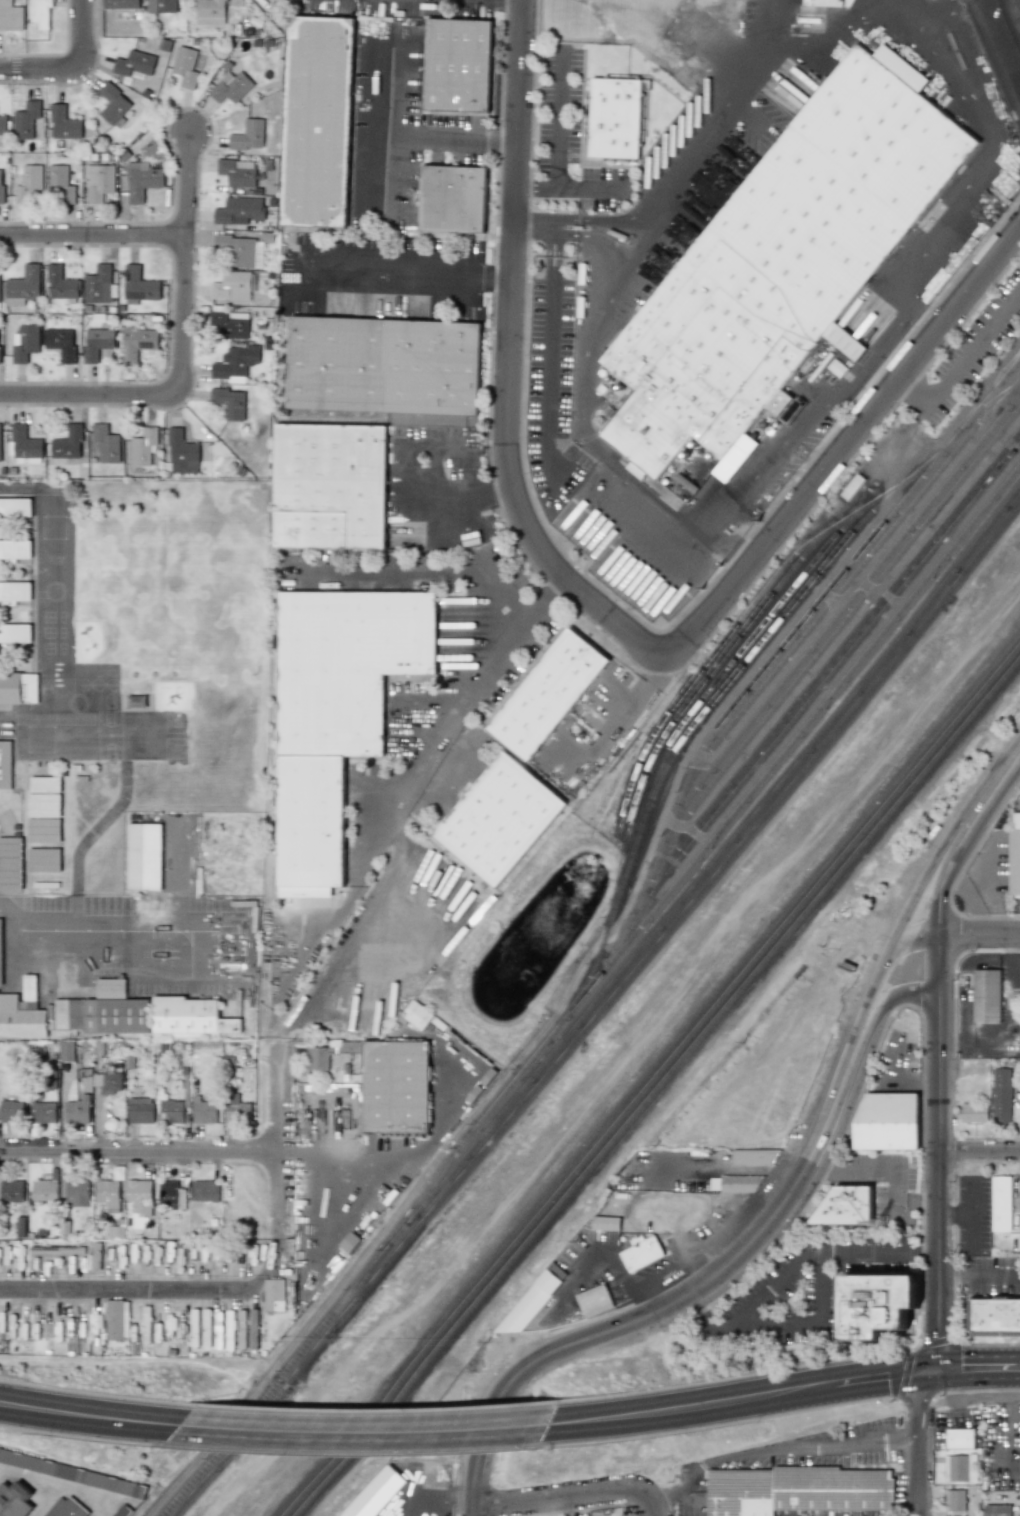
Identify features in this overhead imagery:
building: (829, 2)
road: (892, 2)
building: (121, 4)
road: (1017, 4)
building: (160, 6)
building: (210, 11)
building: (41, 13)
building: (10, 16)
road: (775, 23)
road: (427, 25)
road: (83, 34)
building: (164, 47)
road: (996, 52)
road: (58, 55)
building: (134, 63)
building: (461, 66)
building: (185, 67)
road: (14, 68)
road: (41, 68)
road: (82, 79)
road: (650, 79)
building: (231, 87)
road: (681, 102)
building: (113, 104)
building: (616, 116)
building: (26, 120)
building: (321, 123)
building: (64, 124)
building: (3, 125)
parking lot: (403, 129)
road: (390, 131)
building: (248, 135)
parking lot: (571, 138)
road: (453, 139)
road: (644, 153)
road: (636, 168)
building: (237, 172)
building: (142, 181)
building: (61, 183)
building: (98, 183)
building: (29, 184)
building: (1, 187)
road: (195, 192)
building: (457, 200)
building: (239, 210)
road: (496, 212)
road: (533, 225)
road: (615, 229)
road: (350, 231)
road: (420, 231)
road: (93, 236)
building: (967, 237)
road: (558, 249)
road: (549, 250)
building: (239, 251)
building: (784, 261)
road: (923, 261)
parking lot: (388, 273)
building: (942, 273)
road: (409, 275)
building: (60, 282)
building: (100, 285)
building: (927, 285)
building: (23, 286)
building: (138, 286)
building: (231, 286)
building: (0, 308)
road: (295, 317)
building: (230, 324)
road: (488, 324)
building: (25, 343)
building: (137, 343)
building: (61, 344)
building: (97, 344)
road: (181, 354)
road: (508, 356)
road: (967, 356)
building: (236, 362)
railway: (1012, 364)
building: (387, 367)
road: (549, 386)
parking lot: (552, 390)
railway: (987, 401)
building: (230, 403)
building: (106, 443)
road: (430, 443)
building: (68, 444)
building: (0, 445)
building: (25, 446)
building: (143, 447)
building: (185, 448)
road: (845, 450)
road: (494, 483)
building: (333, 487)
road: (434, 488)
building: (15, 508)
building: (15, 549)
road: (417, 570)
railway: (841, 585)
building: (14, 592)
railway: (791, 602)
railway: (837, 611)
railway: (797, 625)
building: (15, 635)
railway: (828, 636)
railway: (725, 650)
railway: (705, 661)
railway: (833, 666)
railway: (804, 687)
building: (18, 688)
building: (550, 695)
railway: (689, 713)
building: (339, 714)
building: (5, 765)
road: (411, 773)
road: (1015, 773)
building: (45, 784)
road: (995, 790)
building: (44, 805)
building: (502, 821)
building: (43, 830)
railway: (708, 839)
building: (1014, 855)
building: (144, 856)
building: (43, 860)
building: (10, 864)
building: (151, 903)
road: (901, 924)
road: (979, 933)
road: (353, 937)
road: (915, 937)
building: (0, 952)
road: (42, 956)
building: (1011, 969)
building: (110, 988)
building: (987, 995)
road: (888, 997)
railway: (593, 1001)
railway: (599, 1009)
building: (22, 1012)
building: (68, 1014)
building: (417, 1015)
building: (117, 1016)
building: (190, 1016)
building: (98, 1048)
building: (66, 1051)
road: (621, 1065)
building: (51, 1081)
building: (108, 1081)
building: (386, 1082)
railway: (654, 1082)
railway: (659, 1089)
road: (940, 1092)
building: (1001, 1094)
building: (236, 1109)
building: (77, 1110)
building: (140, 1110)
building: (11, 1111)
building: (172, 1111)
building: (204, 1111)
building: (43, 1112)
building: (974, 1112)
building: (888, 1122)
road: (438, 1130)
road: (274, 1142)
road: (980, 1150)
road: (146, 1153)
road: (328, 1154)
building: (755, 1156)
road: (887, 1163)
building: (735, 1183)
building: (43, 1190)
building: (205, 1190)
building: (11, 1191)
building: (76, 1193)
building: (108, 1194)
building: (172, 1195)
building: (139, 1202)
building: (1001, 1203)
building: (846, 1205)
road: (955, 1213)
road: (971, 1214)
building: (605, 1223)
building: (19, 1226)
building: (114, 1232)
building: (349, 1242)
building: (56, 1250)
building: (96, 1252)
building: (570, 1254)
building: (643, 1255)
road: (791, 1260)
building: (558, 1272)
road: (979, 1274)
road: (708, 1280)
building: (549, 1283)
railway: (358, 1287)
road: (154, 1291)
building: (273, 1295)
building: (596, 1302)
building: (876, 1304)
building: (525, 1311)
building: (994, 1317)
building: (117, 1319)
building: (146, 1321)
building: (193, 1321)
building: (95, 1323)
building: (217, 1324)
building: (205, 1327)
road: (805, 1328)
building: (229, 1329)
building: (241, 1329)
building: (252, 1329)
road: (783, 1393)
road: (1008, 1395)
road: (82, 1412)
road: (356, 1432)
building: (960, 1439)
road: (918, 1442)
road: (783, 1454)
road: (840, 1467)
building: (959, 1468)
building: (70, 1473)
road: (472, 1475)
building: (798, 1491)
building: (379, 1494)
road: (571, 1495)
road: (670, 1497)
building: (14, 1500)
building: (955, 1500)
building: (67, 1508)
building: (997, 1510)
building: (124, 1511)

